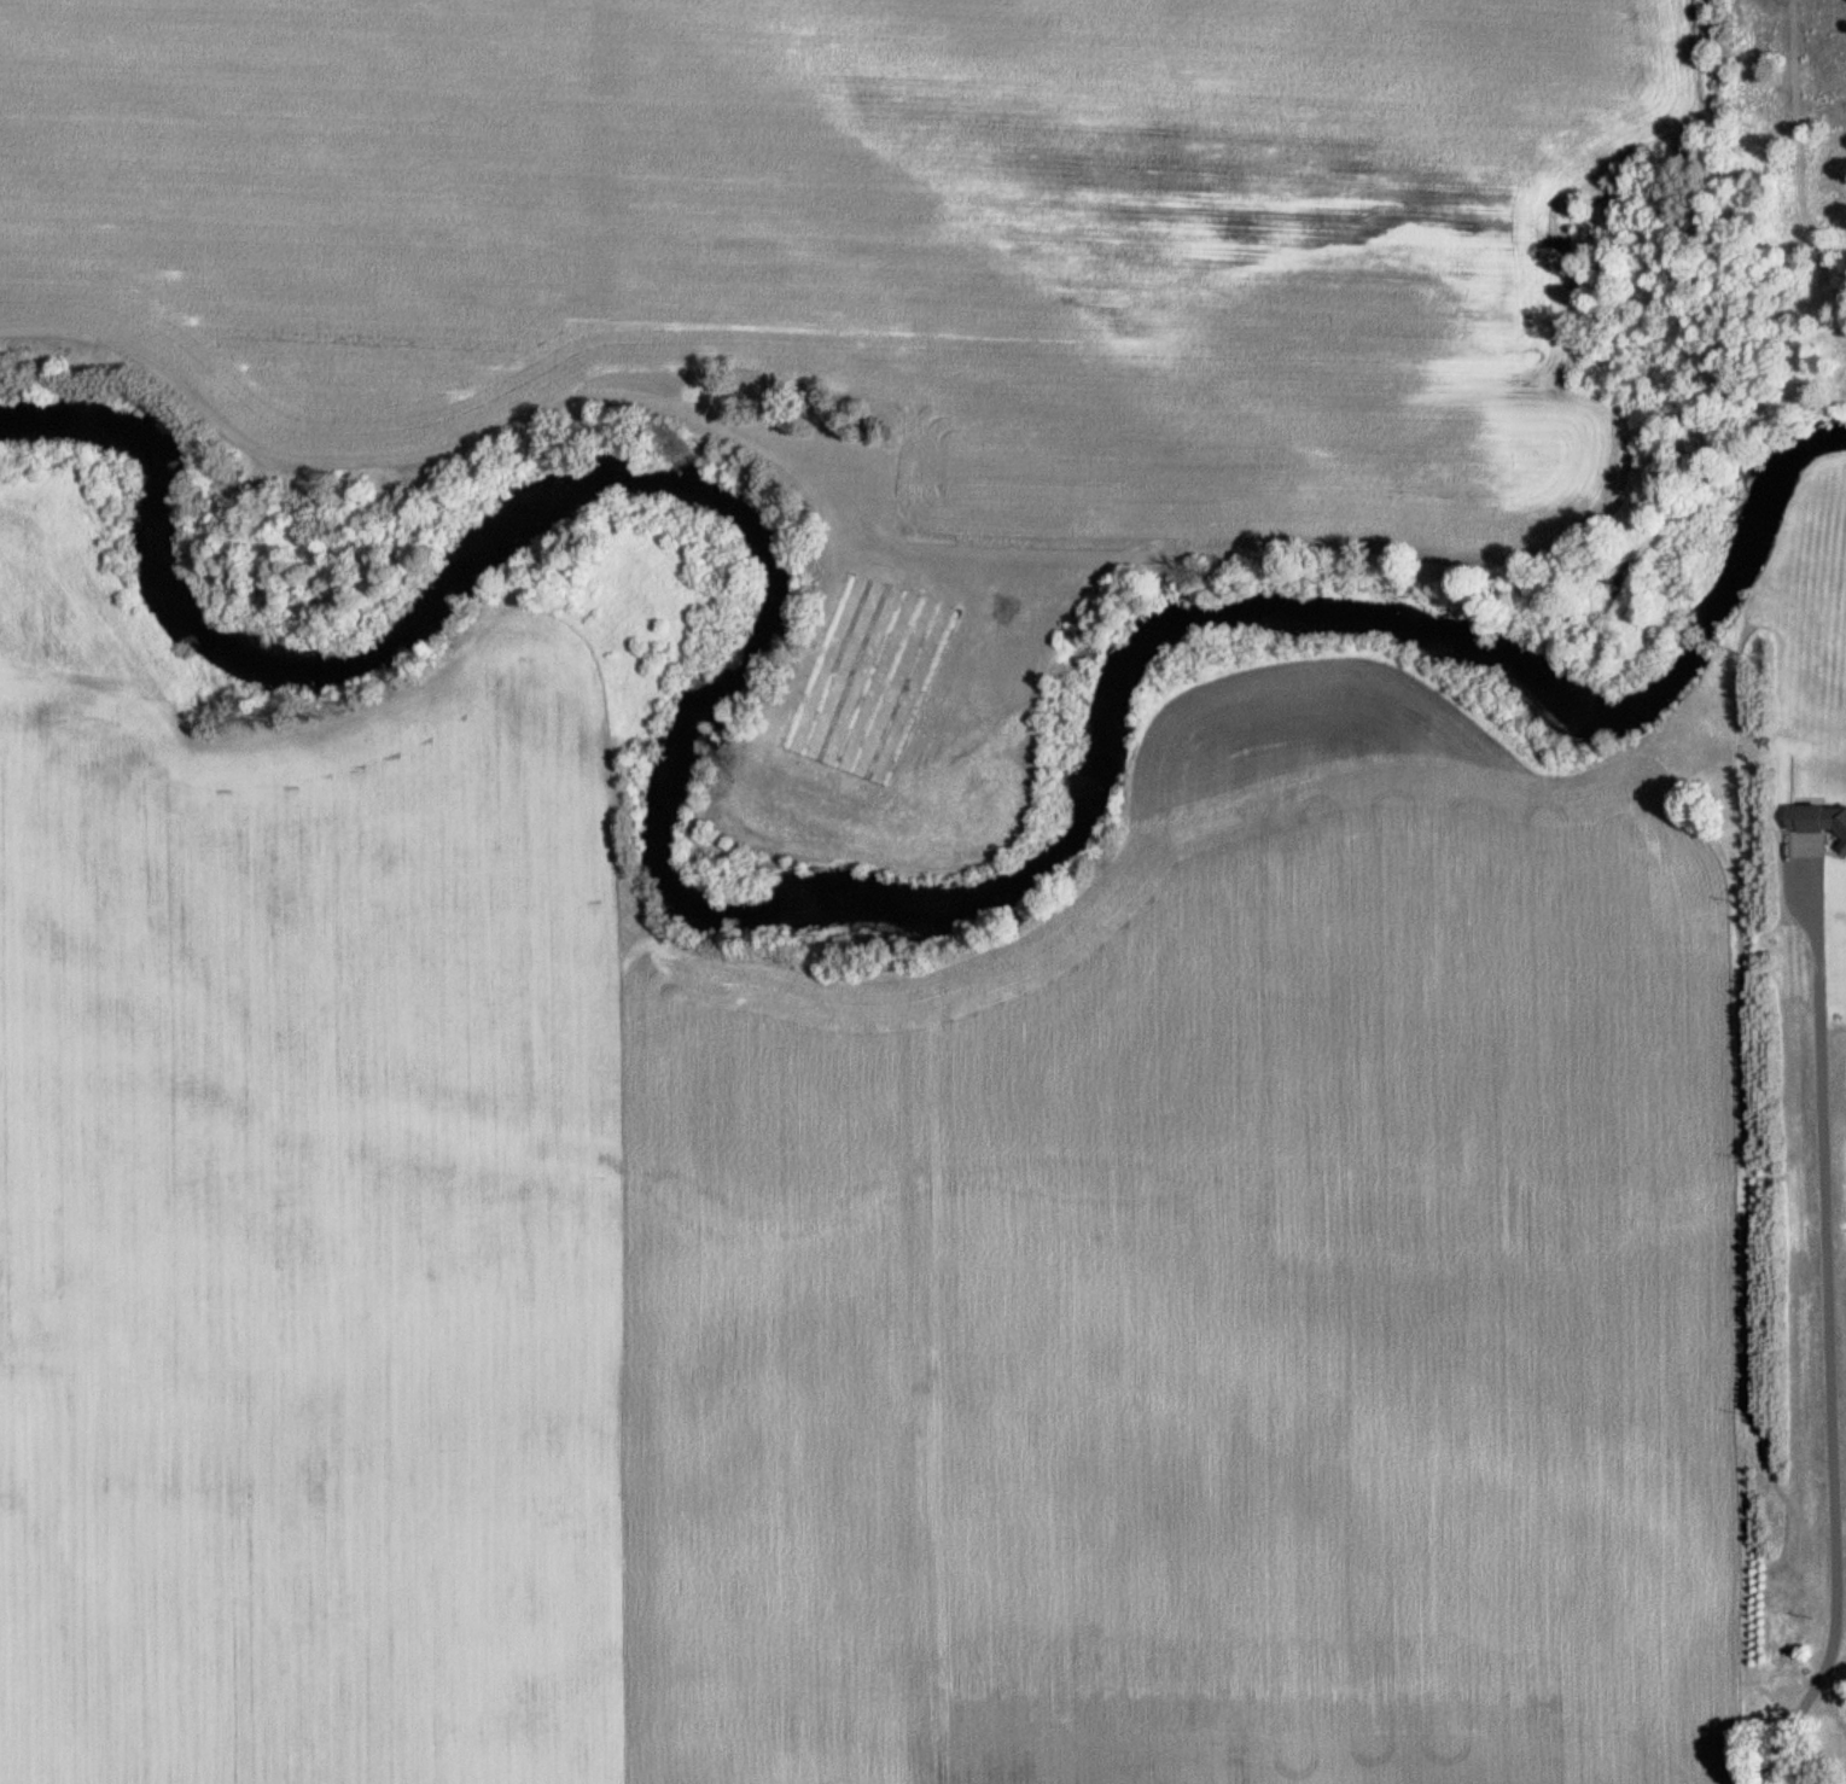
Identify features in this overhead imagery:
road: (268, 451)
building: (1817, 821)
river: (730, 910)
building: (1787, 1642)
building: (1834, 1750)

